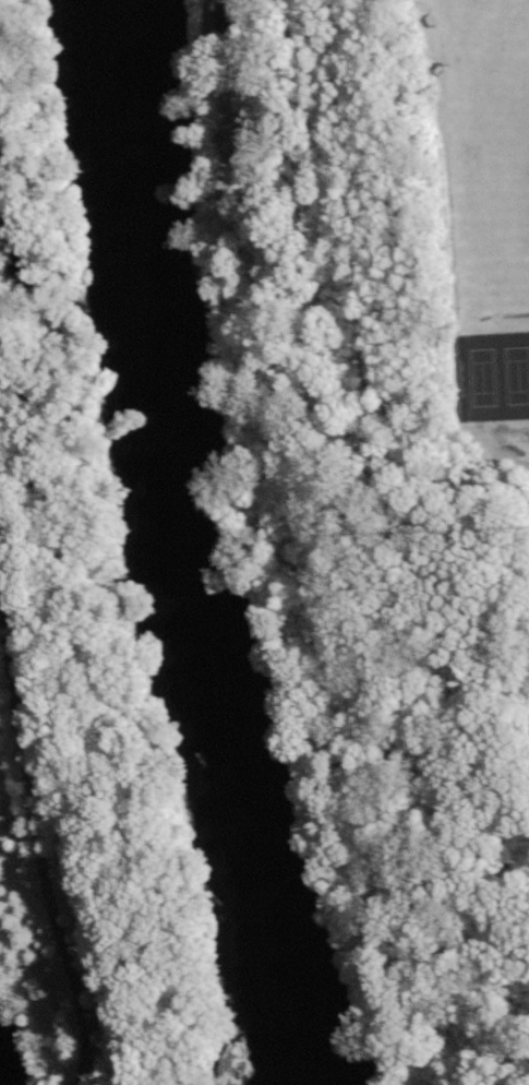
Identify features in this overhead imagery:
building: (228, 17)
road: (215, 79)
park: (496, 378)
road: (507, 456)
road: (293, 540)
river: (176, 549)
road: (39, 843)

